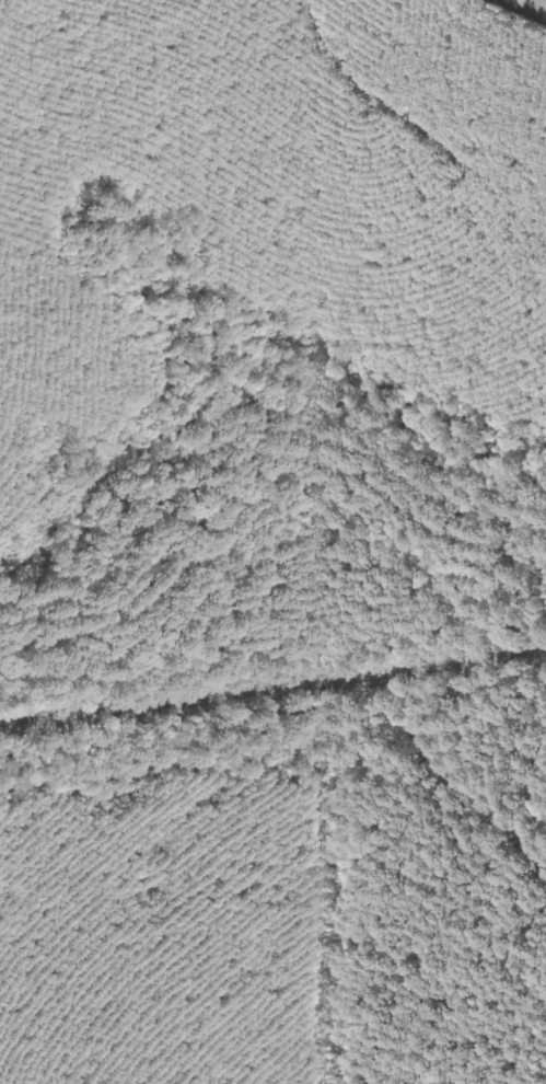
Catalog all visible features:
railway: (272, 688)

